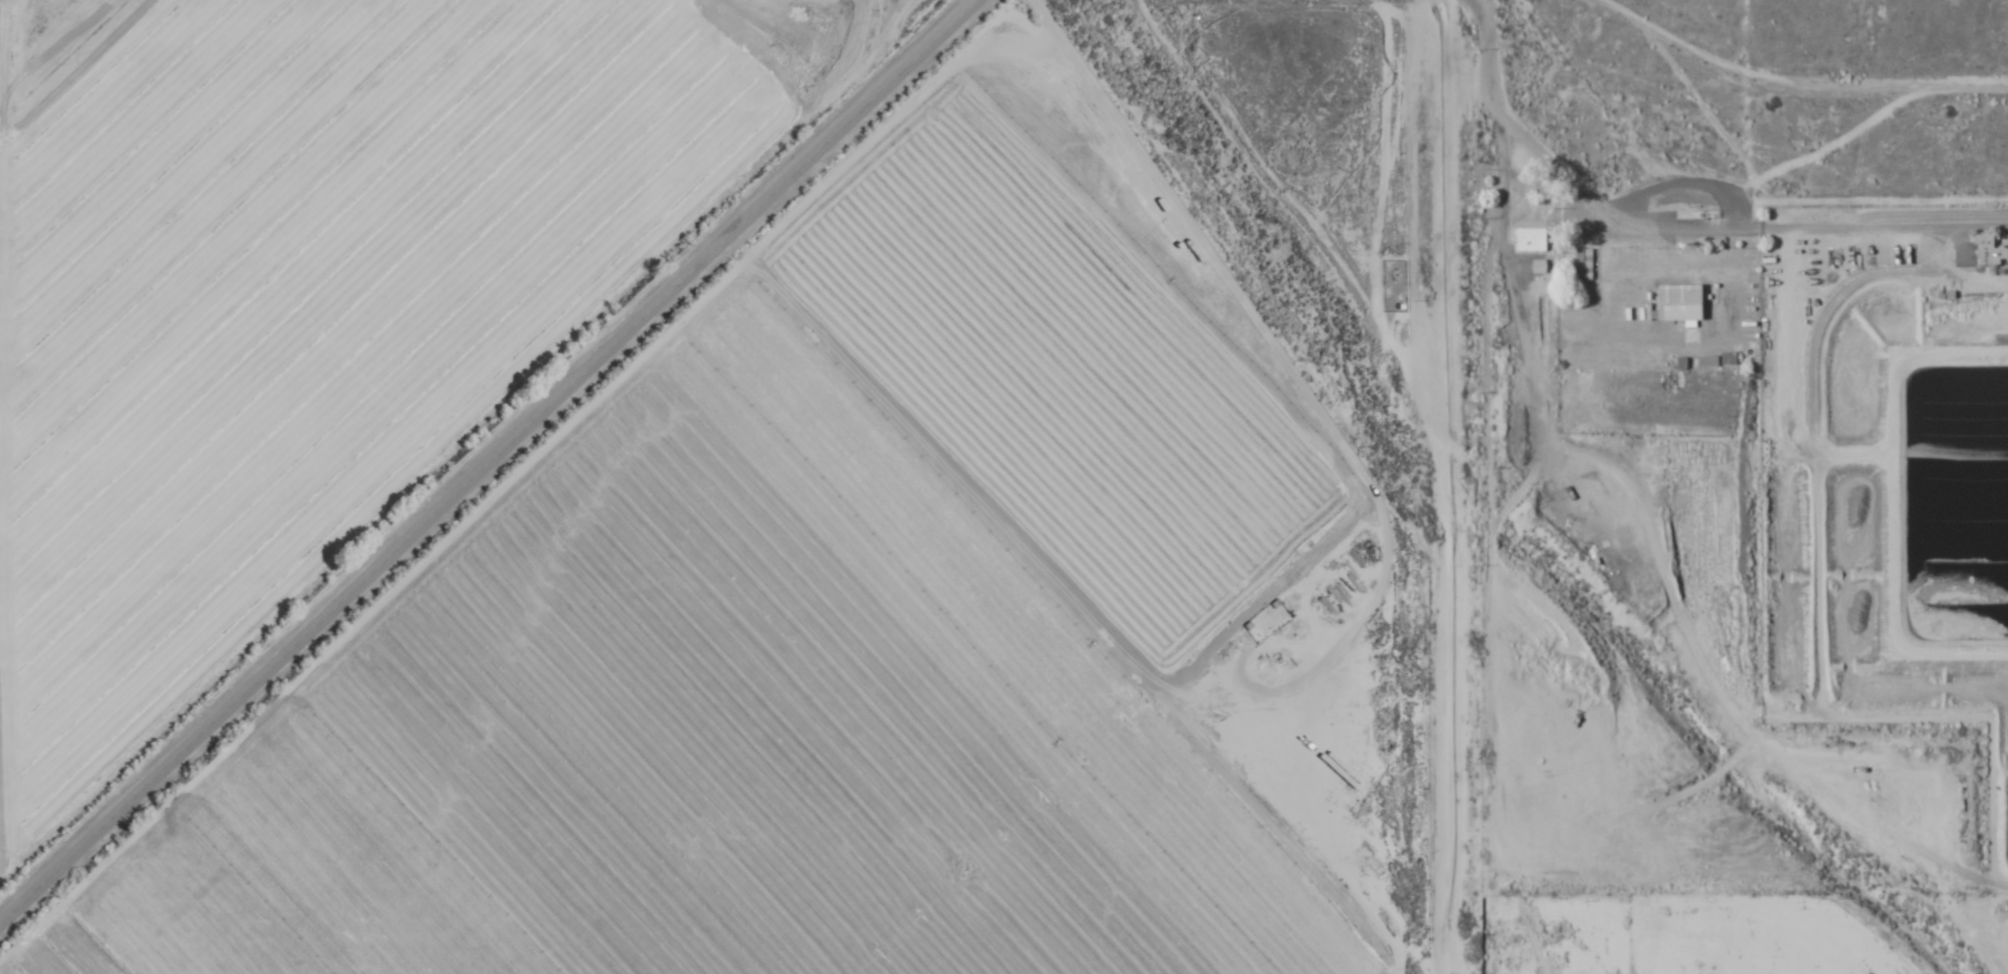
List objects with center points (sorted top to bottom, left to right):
building: (1529, 240)
building: (1989, 251)
building: (1583, 264)
crop: (313, 290)
building: (1677, 303)
road: (486, 459)
wastewater plant: (1888, 473)
crop: (829, 624)

